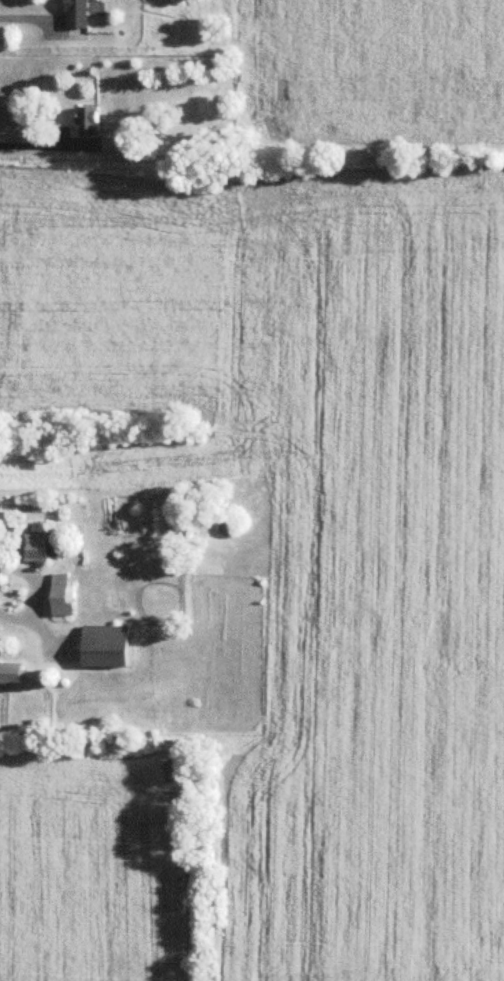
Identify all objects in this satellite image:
building: (78, 14)
road: (30, 18)
building: (89, 119)
road: (34, 145)
building: (120, 146)
building: (44, 547)
road: (37, 595)
building: (63, 597)
building: (106, 647)
building: (12, 675)

